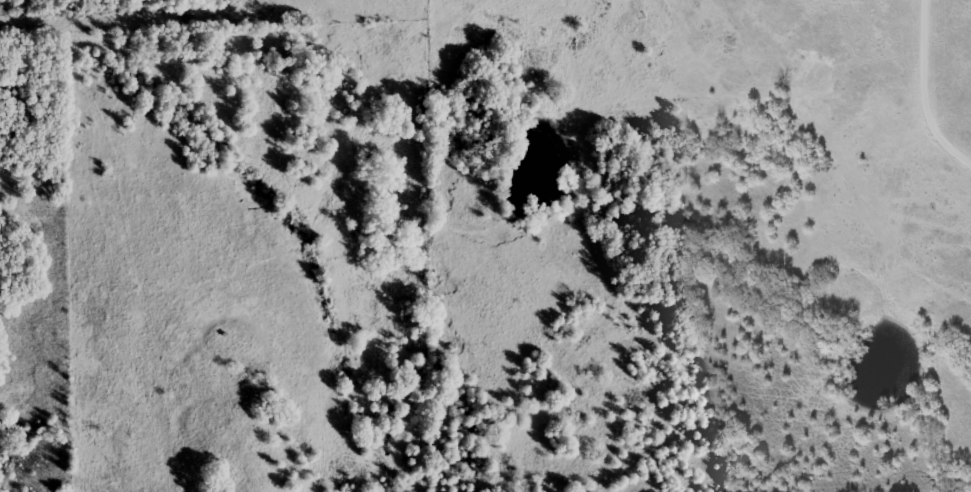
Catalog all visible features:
road: (920, 94)

